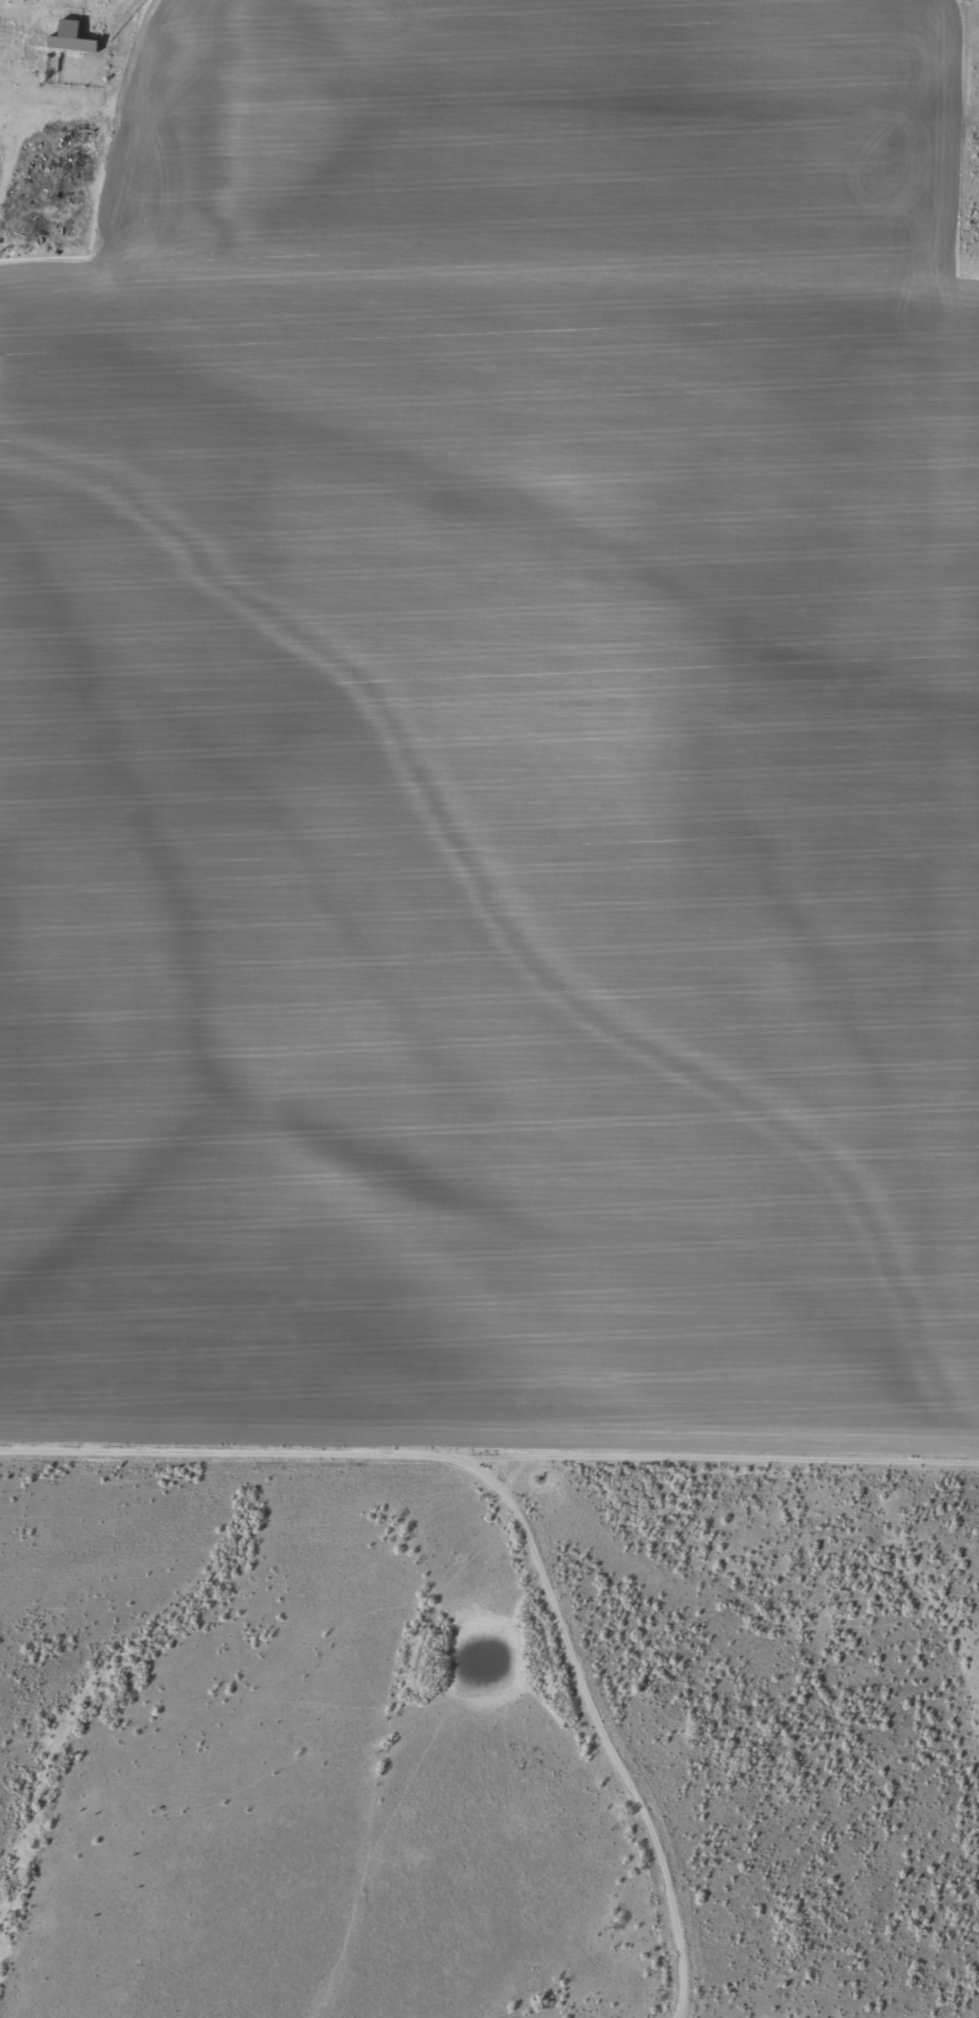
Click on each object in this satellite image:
building: (68, 38)
road: (120, 149)
road: (489, 1459)
road: (580, 1738)

